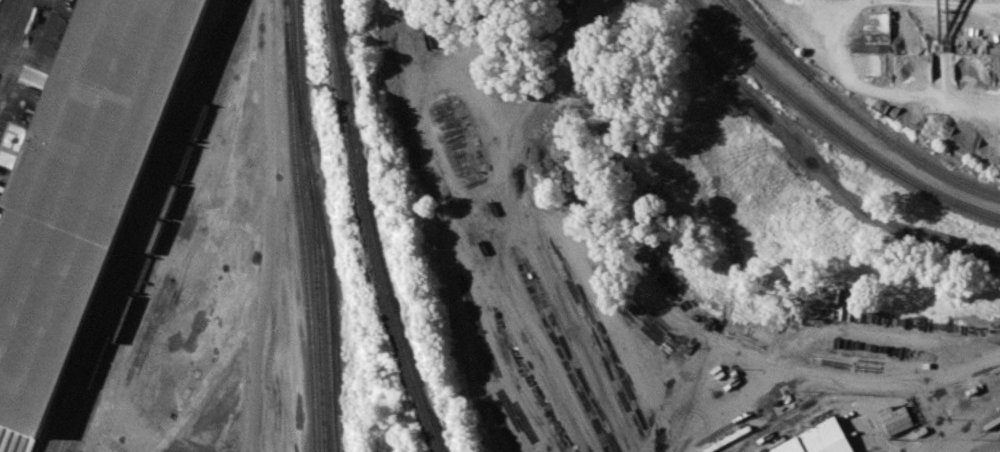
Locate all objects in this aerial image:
road: (7, 15)
railway: (759, 33)
railway: (298, 70)
railway: (294, 81)
railway: (856, 117)
road: (845, 120)
railway: (832, 128)
road: (269, 156)
road: (808, 159)
building: (81, 186)
railway: (150, 225)
railway: (301, 226)
railway: (159, 227)
railway: (127, 230)
railway: (372, 230)
railway: (325, 295)
railway: (318, 314)
road: (251, 327)
railway: (461, 345)
building: (897, 419)
building: (820, 439)
road: (991, 447)

